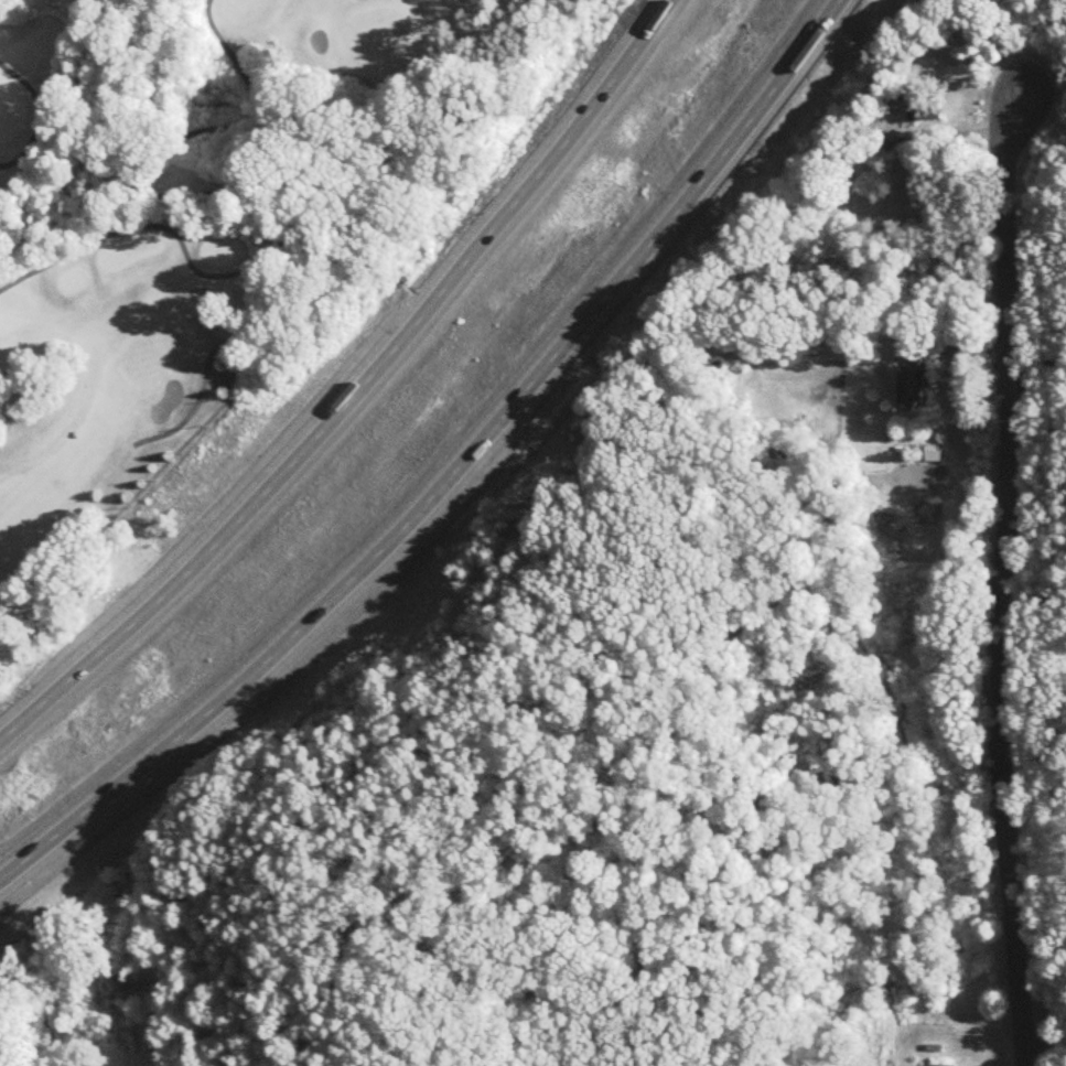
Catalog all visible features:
building: (926, 106)
road: (53, 108)
road: (967, 128)
park: (203, 236)
road: (214, 346)
road: (1036, 373)
building: (914, 383)
road: (357, 390)
road: (453, 475)
road: (1003, 582)
road: (1045, 1047)

